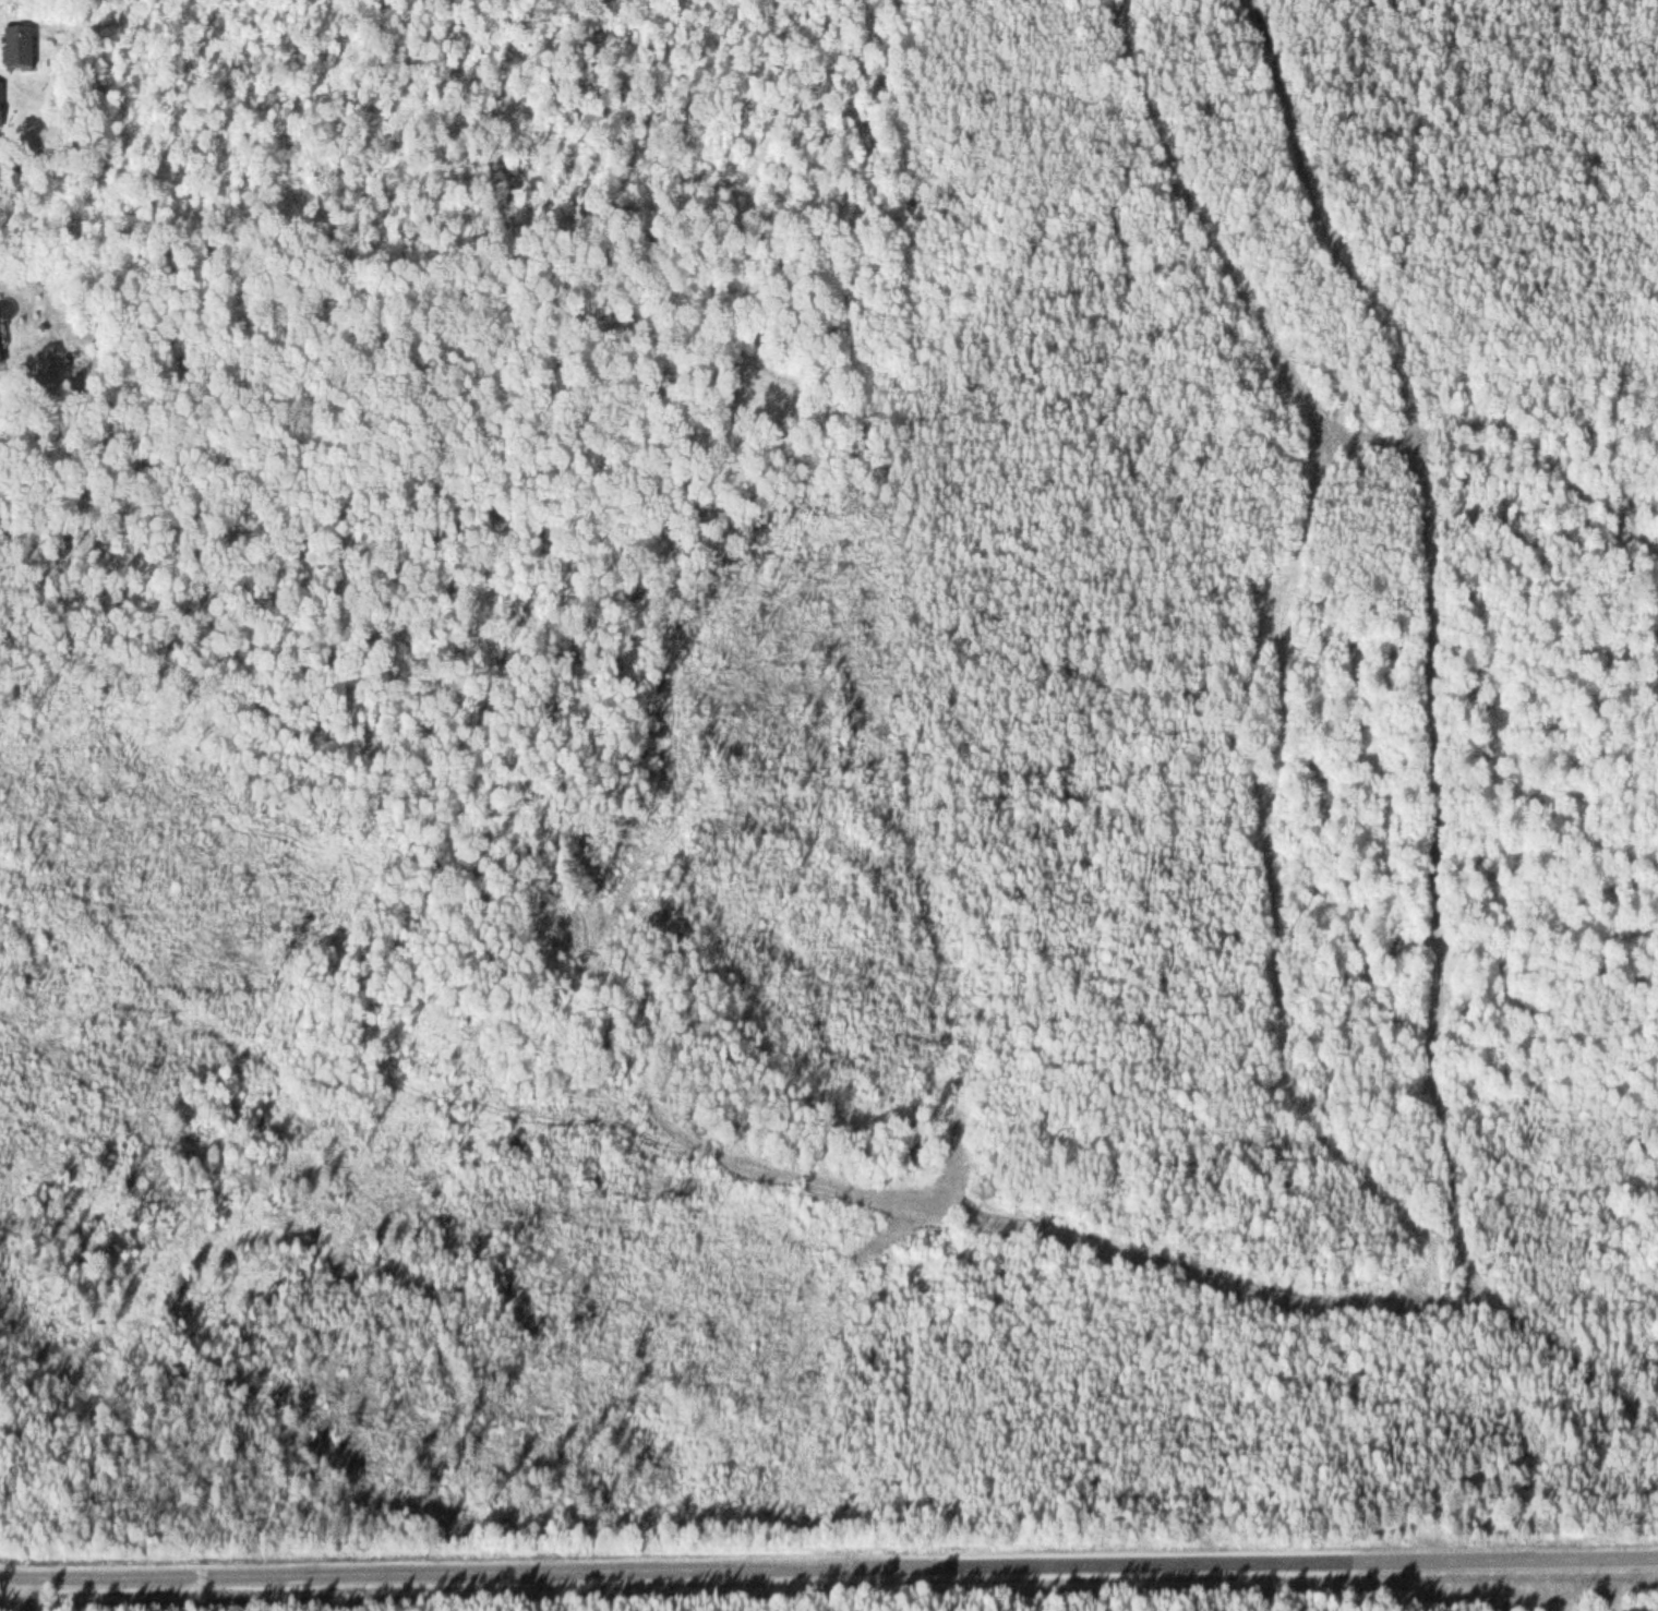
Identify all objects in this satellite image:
building: (19, 52)
building: (0, 108)
building: (0, 364)
road: (828, 1572)

